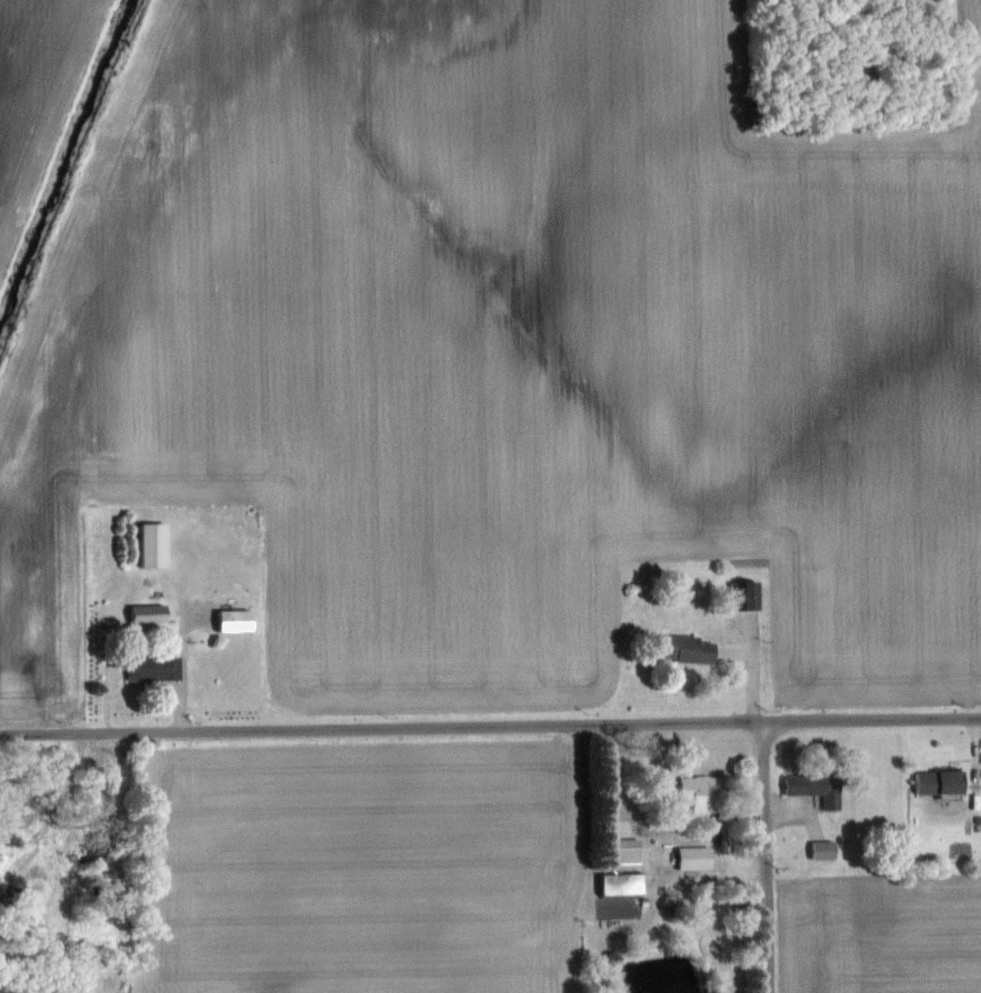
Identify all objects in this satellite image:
building: (150, 543)
building: (743, 593)
building: (145, 612)
building: (232, 619)
building: (685, 648)
road: (183, 663)
building: (150, 666)
road: (490, 725)
building: (936, 781)
building: (813, 786)
building: (702, 791)
building: (622, 819)
building: (625, 849)
building: (693, 856)
road: (767, 857)
building: (619, 882)

